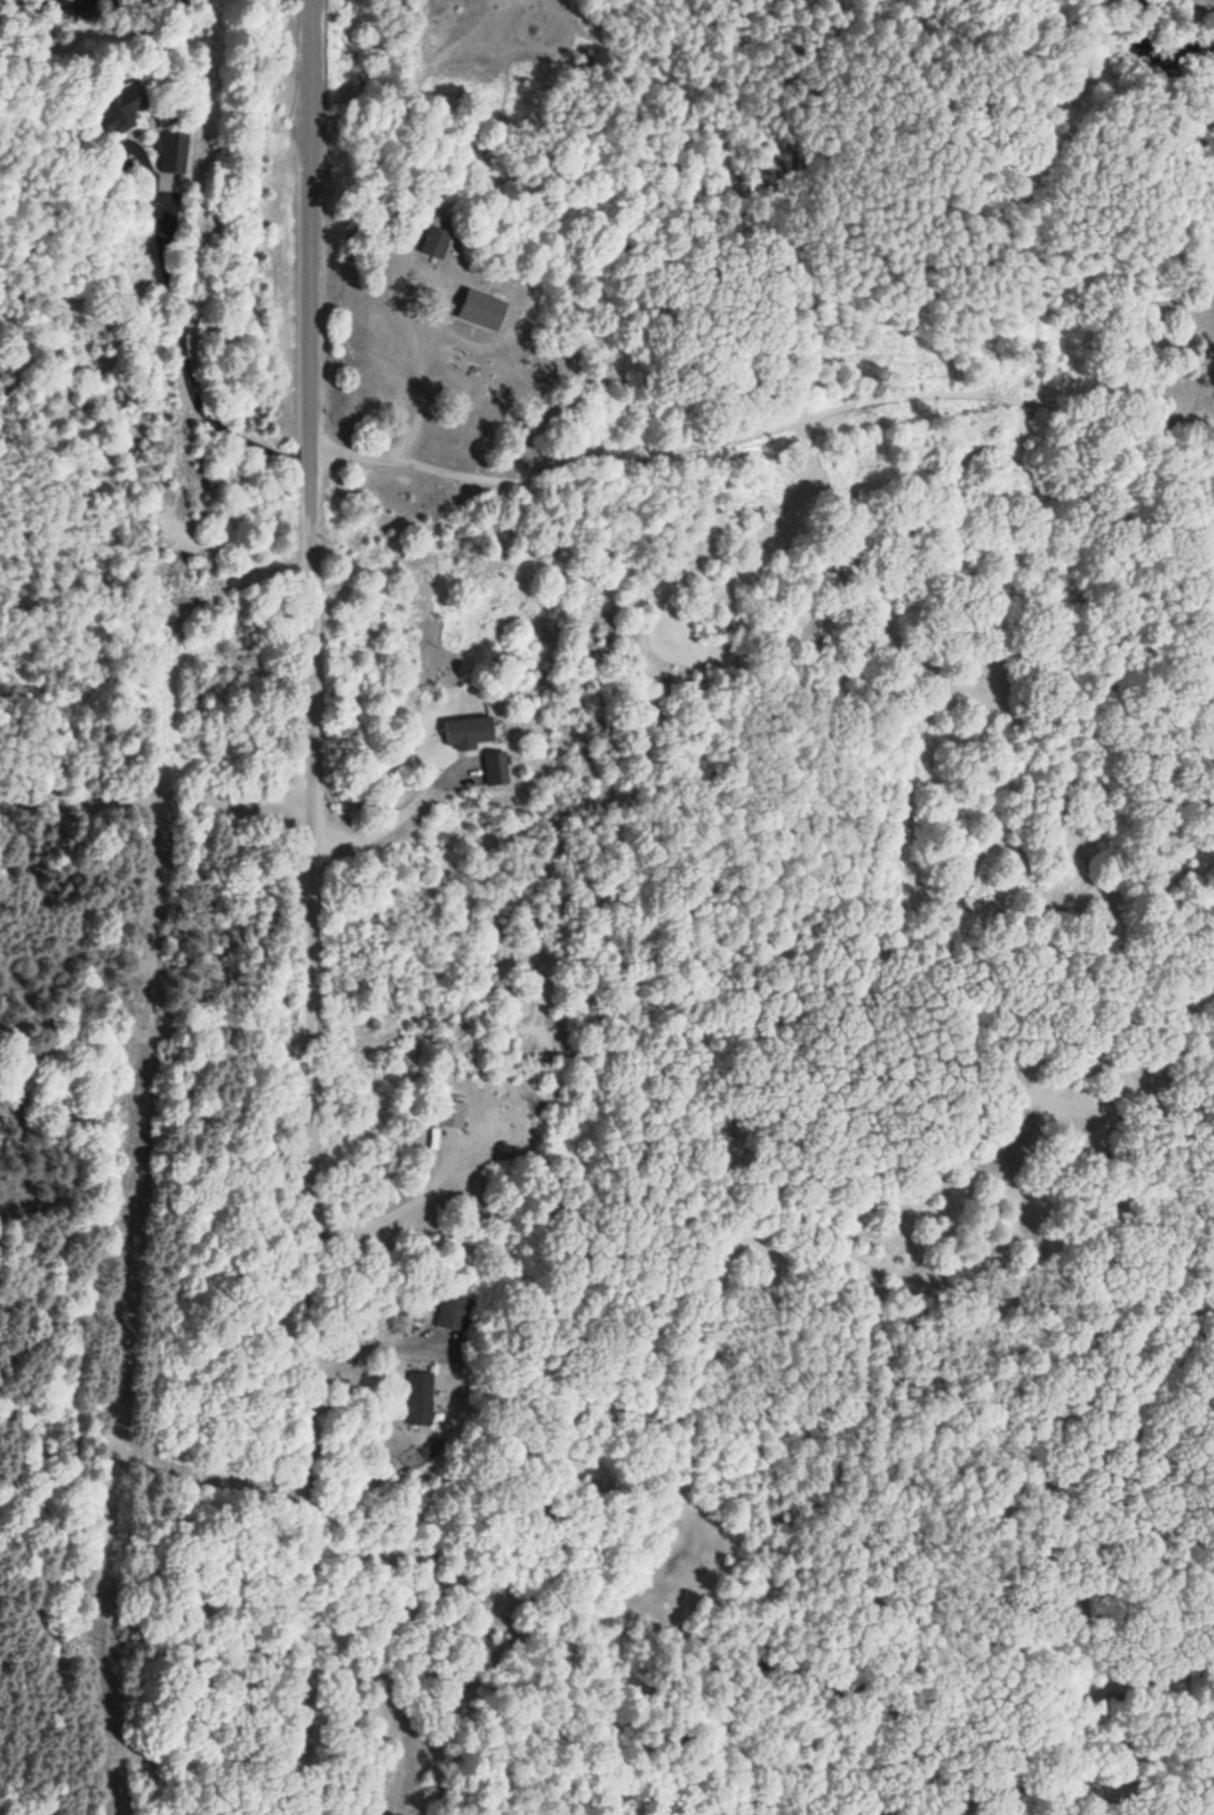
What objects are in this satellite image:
river: (1152, 60)
building: (114, 107)
building: (177, 152)
building: (432, 241)
road: (154, 314)
road: (760, 406)
building: (497, 767)
road: (283, 906)
building: (449, 1112)
building: (420, 1137)
building: (450, 1311)
building: (418, 1397)
building: (305, 1631)

